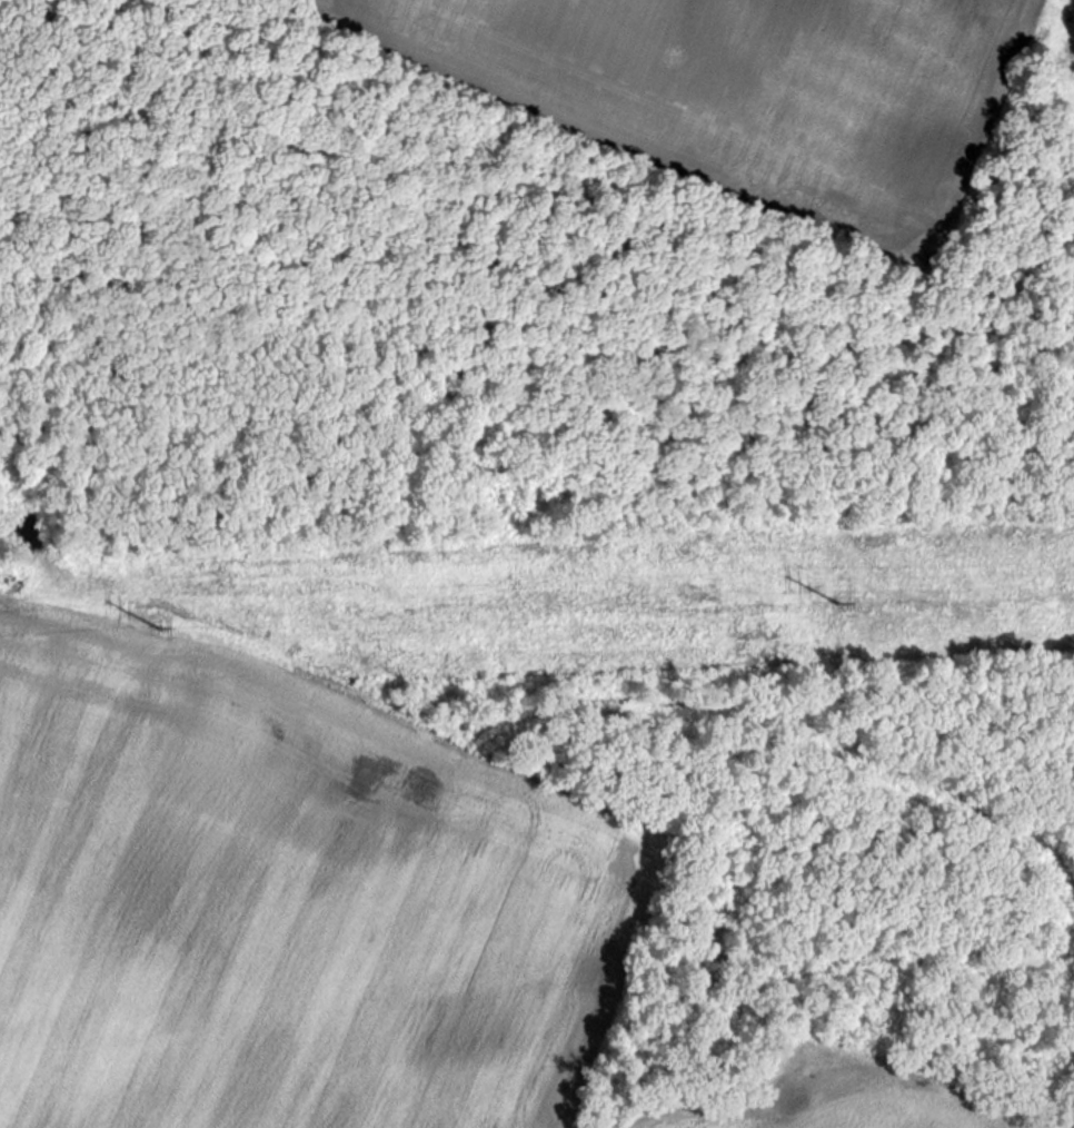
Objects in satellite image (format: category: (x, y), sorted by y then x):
crop: (783, 79)
power tower: (833, 608)
power tower: (152, 634)
crop: (269, 932)
crop: (906, 1097)

